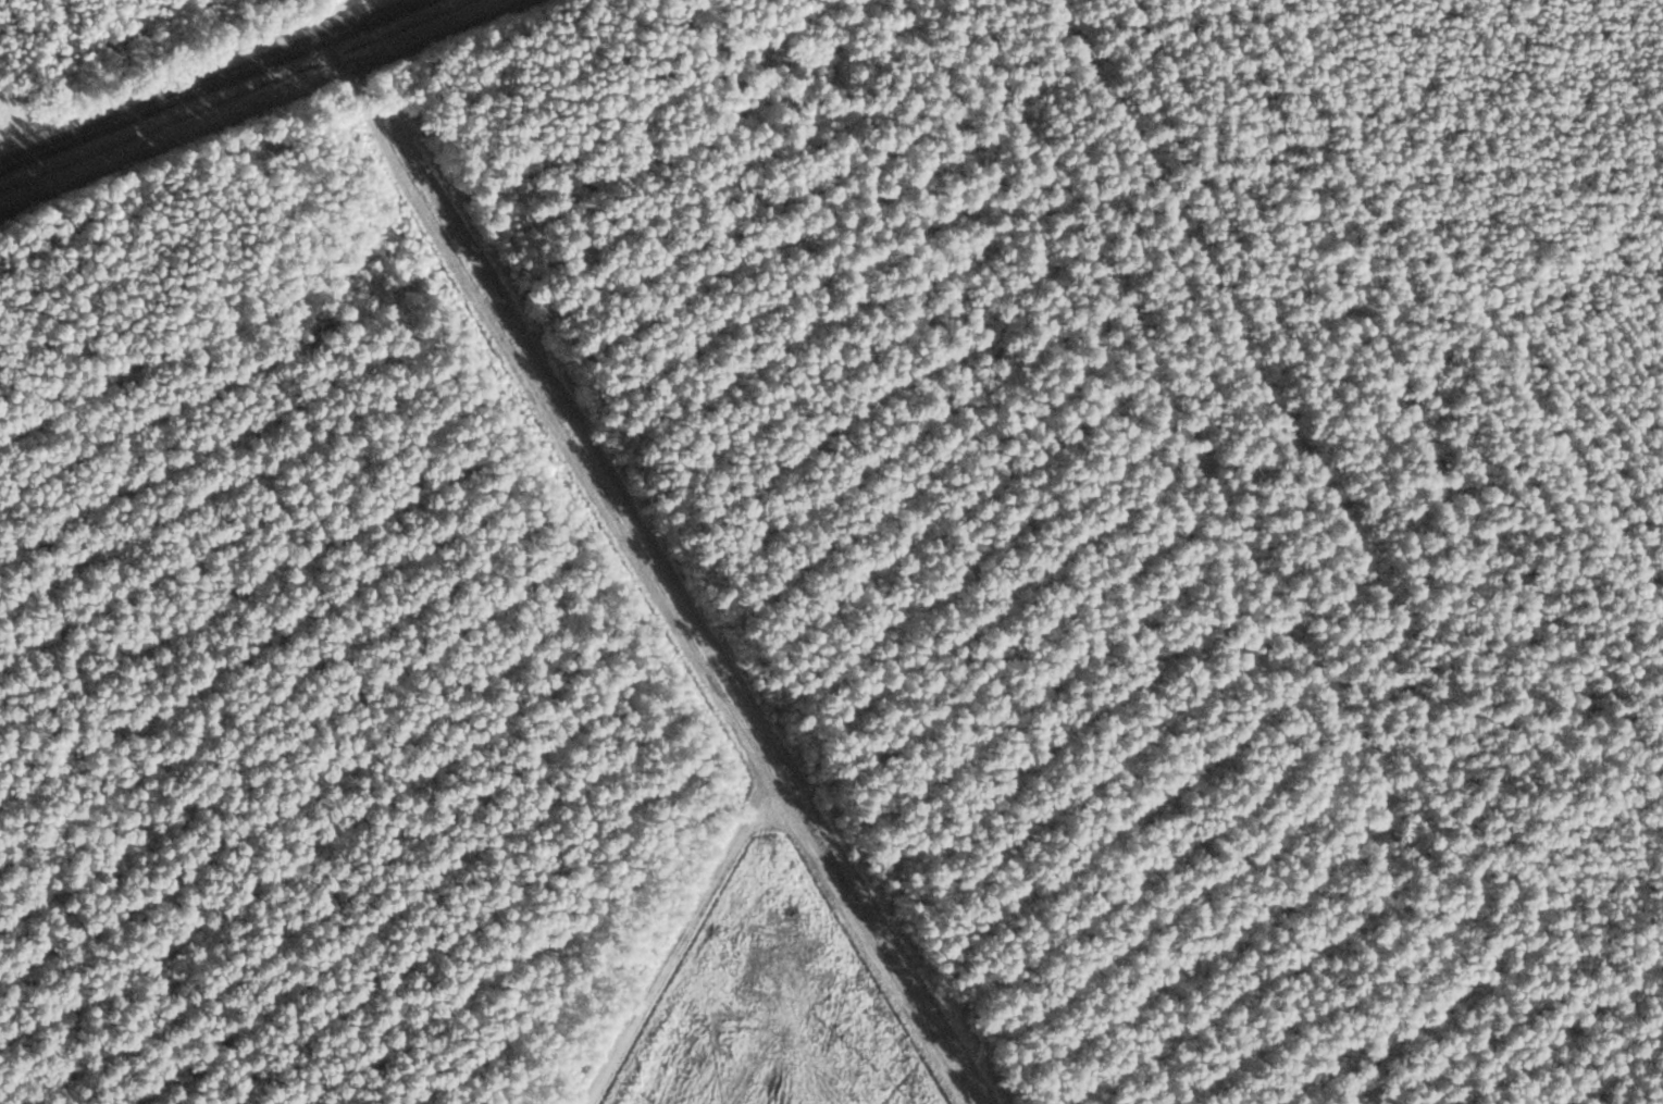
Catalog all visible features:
road: (207, 83)

